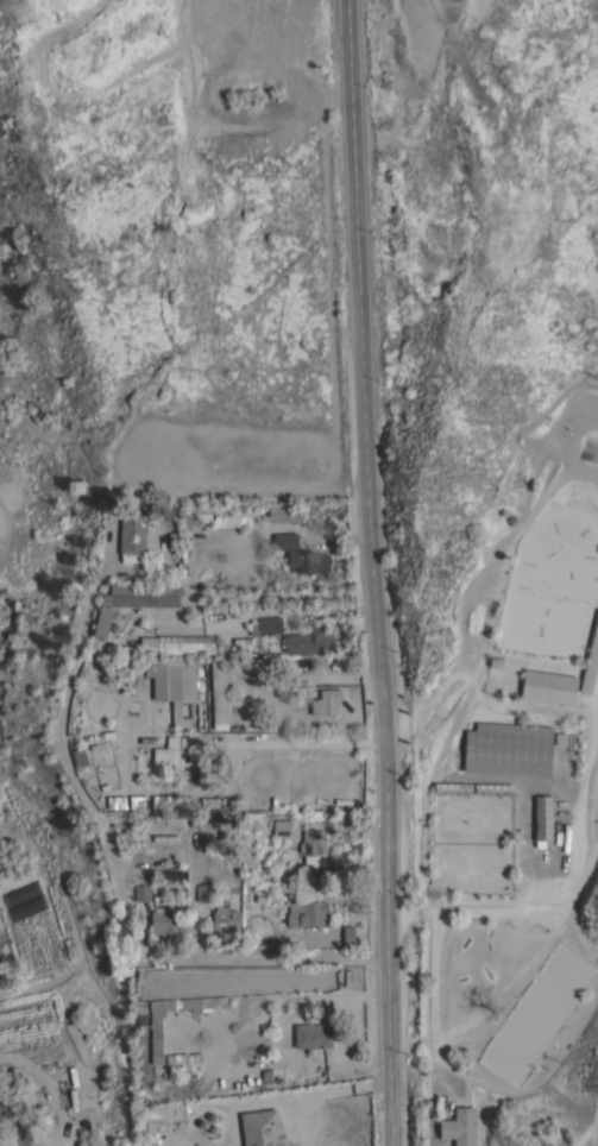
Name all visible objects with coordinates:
park: (182, 70)
building: (254, 84)
building: (203, 509)
building: (504, 512)
building: (285, 515)
building: (512, 520)
building: (133, 536)
building: (285, 541)
building: (309, 561)
road: (374, 573)
building: (149, 593)
building: (270, 625)
building: (114, 626)
building: (310, 640)
building: (150, 650)
building: (497, 662)
building: (591, 663)
building: (125, 674)
building: (140, 680)
building: (208, 687)
building: (549, 687)
building: (170, 690)
building: (327, 701)
building: (561, 739)
building: (509, 749)
road: (586, 751)
road: (226, 753)
building: (168, 754)
building: (453, 787)
building: (492, 788)
building: (139, 802)
building: (162, 802)
building: (117, 804)
building: (543, 820)
building: (282, 827)
building: (313, 846)
road: (109, 856)
building: (141, 893)
building: (203, 893)
building: (308, 913)
building: (163, 920)
building: (226, 920)
building: (351, 936)
road: (433, 976)
road: (300, 999)
building: (31, 1024)
building: (87, 1032)
building: (313, 1037)
building: (158, 1039)
road: (350, 1047)
road: (316, 1098)
road: (15, 1121)
building: (460, 1127)
road: (149, 1129)

